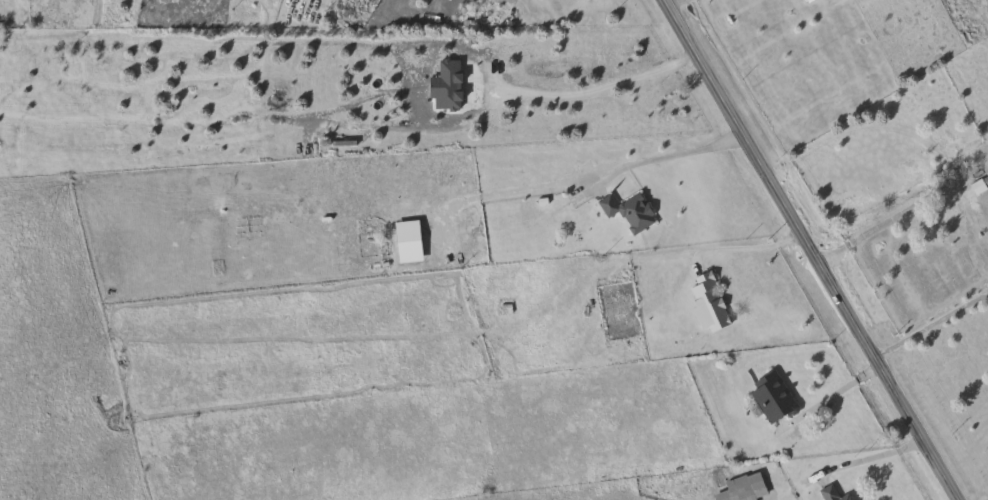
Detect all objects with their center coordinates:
building: (486, 4)
road: (674, 5)
road: (583, 92)
road: (663, 156)
road: (764, 185)
building: (631, 212)
road: (900, 218)
building: (966, 219)
road: (742, 246)
building: (711, 304)
road: (928, 326)
road: (833, 394)
building: (775, 398)
road: (913, 434)
road: (862, 460)
building: (746, 488)
building: (835, 494)

